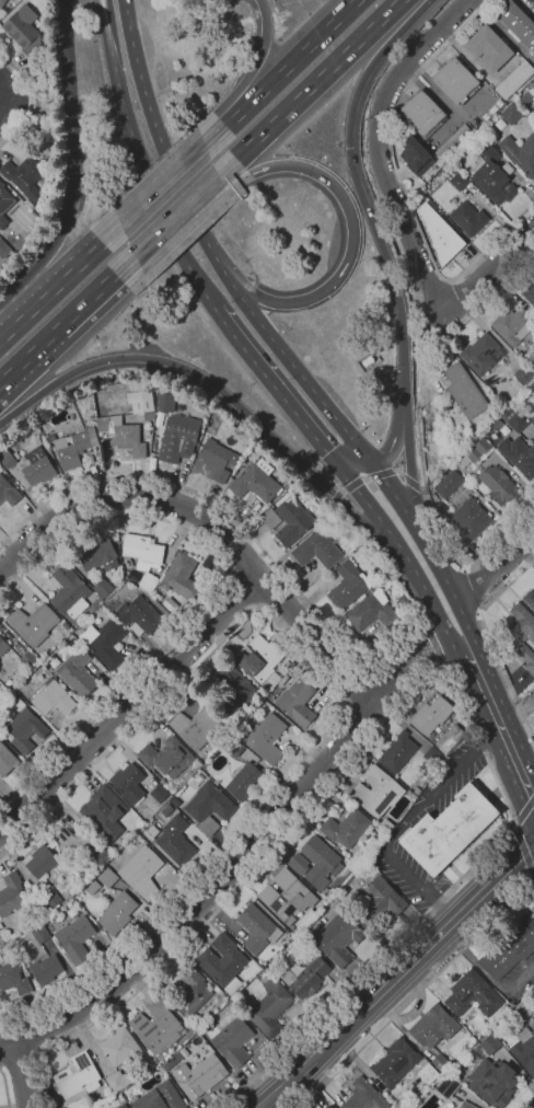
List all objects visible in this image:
building: (533, 0)
building: (14, 1)
building: (2, 2)
building: (518, 23)
building: (25, 31)
building: (488, 49)
road: (283, 67)
building: (39, 70)
road: (252, 71)
building: (514, 80)
building: (455, 81)
road: (9, 85)
road: (68, 85)
road: (310, 88)
road: (36, 99)
road: (9, 111)
building: (422, 113)
building: (512, 113)
road: (30, 122)
road: (43, 126)
road: (119, 135)
road: (209, 140)
road: (381, 142)
building: (452, 142)
traffic signals: (348, 147)
building: (520, 152)
building: (415, 153)
road: (139, 163)
building: (449, 172)
building: (492, 174)
building: (26, 177)
building: (441, 178)
building: (458, 181)
road: (162, 185)
road: (402, 186)
building: (472, 188)
building: (4, 204)
building: (440, 204)
building: (42, 206)
building: (452, 206)
road: (175, 215)
building: (469, 218)
building: (439, 229)
road: (352, 230)
road: (57, 238)
road: (381, 244)
road: (209, 247)
building: (3, 249)
road: (80, 263)
road: (487, 272)
road: (96, 291)
building: (530, 293)
road: (24, 318)
building: (513, 325)
road: (4, 336)
building: (481, 354)
road: (30, 355)
building: (522, 376)
road: (254, 380)
building: (533, 388)
road: (218, 389)
road: (276, 389)
building: (464, 391)
building: (163, 402)
building: (141, 403)
building: (515, 420)
building: (533, 420)
building: (497, 424)
building: (123, 435)
building: (178, 438)
road: (419, 438)
road: (392, 439)
building: (74, 448)
building: (478, 449)
traffic signals: (369, 458)
building: (522, 458)
building: (8, 459)
building: (218, 459)
road: (352, 461)
building: (456, 462)
traffic signals: (337, 465)
building: (38, 466)
road: (373, 475)
building: (257, 480)
building: (449, 482)
building: (289, 484)
building: (499, 484)
building: (297, 489)
road: (422, 489)
building: (8, 492)
building: (467, 516)
building: (271, 518)
building: (293, 520)
road: (213, 521)
building: (317, 549)
road: (429, 550)
building: (98, 554)
building: (143, 557)
road: (400, 559)
road: (245, 561)
road: (497, 566)
building: (182, 577)
road: (288, 577)
building: (349, 585)
road: (476, 586)
building: (104, 587)
road: (270, 590)
building: (70, 591)
road: (213, 592)
building: (530, 598)
building: (405, 599)
building: (170, 602)
building: (372, 611)
building: (140, 615)
building: (33, 623)
building: (65, 625)
building: (522, 634)
building: (105, 642)
road: (428, 643)
road: (491, 643)
building: (3, 646)
road: (432, 658)
building: (30, 659)
building: (262, 660)
building: (78, 672)
road: (357, 688)
building: (233, 689)
road: (385, 689)
building: (54, 699)
road: (340, 699)
building: (300, 702)
road: (132, 703)
building: (431, 714)
road: (359, 719)
building: (533, 719)
road: (501, 724)
building: (196, 727)
building: (26, 729)
building: (266, 737)
building: (450, 738)
building: (235, 748)
building: (398, 751)
building: (167, 757)
building: (7, 760)
building: (196, 780)
building: (245, 781)
building: (129, 783)
building: (378, 790)
building: (417, 790)
building: (160, 794)
building: (175, 800)
building: (210, 807)
building: (167, 810)
building: (104, 811)
road: (405, 821)
building: (386, 824)
building: (346, 828)
building: (449, 829)
building: (74, 838)
building: (176, 840)
building: (102, 855)
building: (42, 861)
building: (316, 863)
building: (142, 873)
building: (108, 877)
road: (217, 877)
building: (93, 887)
road: (232, 891)
building: (11, 893)
building: (288, 895)
building: (51, 899)
building: (380, 901)
road: (431, 907)
building: (118, 912)
building: (256, 927)
building: (40, 934)
building: (338, 937)
building: (74, 938)
building: (1, 939)
building: (509, 947)
building: (222, 959)
building: (46, 969)
road: (397, 976)
building: (306, 977)
building: (13, 979)
building: (466, 991)
building: (193, 992)
road: (416, 993)
building: (503, 1004)
building: (270, 1007)
building: (523, 1008)
building: (158, 1026)
building: (433, 1026)
building: (233, 1041)
building: (489, 1042)
building: (120, 1047)
building: (525, 1049)
building: (173, 1061)
building: (395, 1062)
road: (19, 1063)
building: (441, 1063)
building: (162, 1070)
building: (428, 1073)
road: (23, 1074)
building: (200, 1075)
building: (78, 1077)
building: (118, 1081)
building: (494, 1082)
building: (448, 1086)
road: (5, 1088)
building: (420, 1095)
building: (364, 1096)
building: (161, 1098)
building: (402, 1105)
building: (467, 1105)
road: (531, 1105)
building: (123, 1106)
building: (328, 1106)

